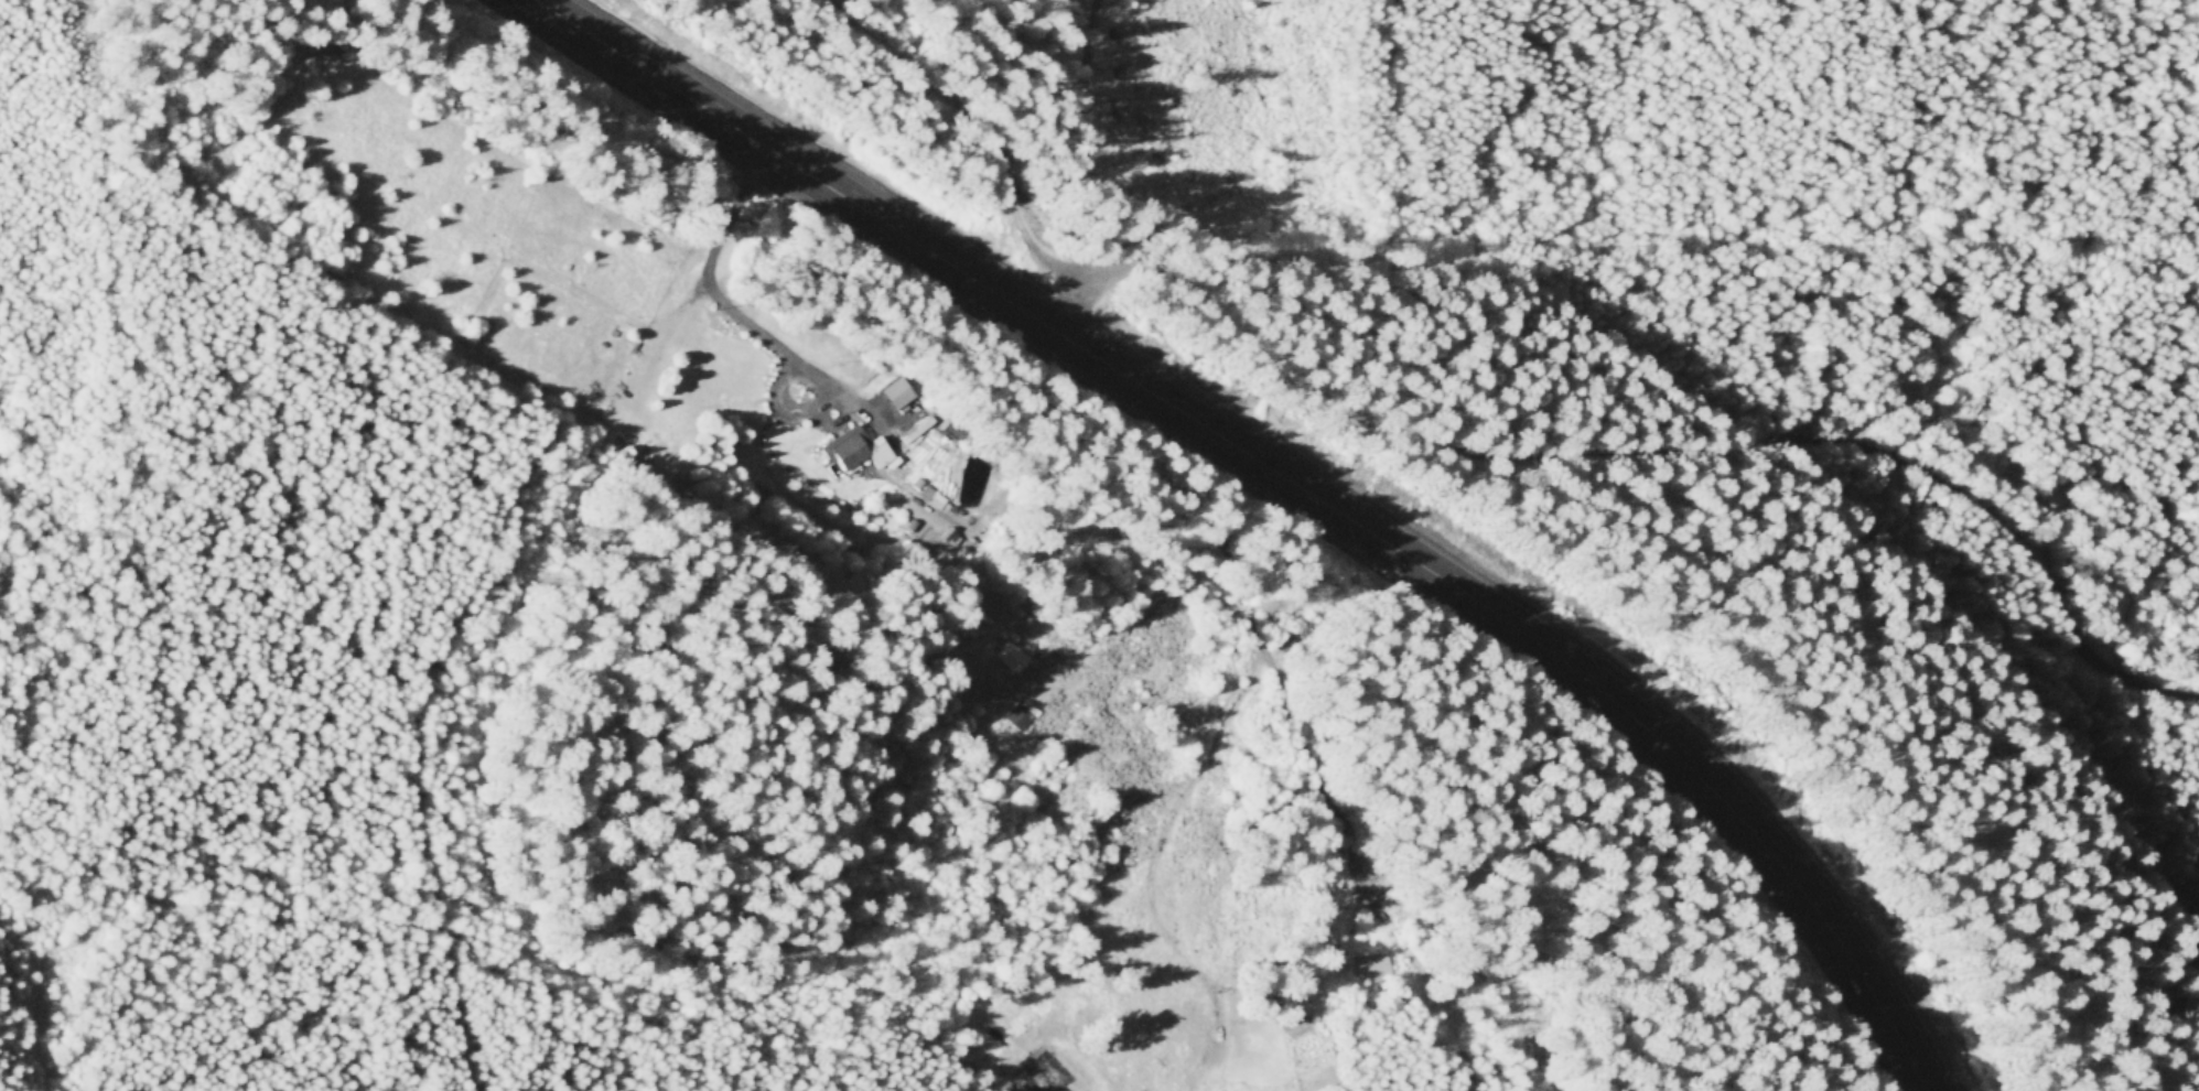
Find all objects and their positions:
road: (337, 97)
road: (983, 151)
road: (430, 207)
road: (722, 228)
road: (790, 350)
road: (784, 408)
road: (1661, 443)
building: (851, 449)
road: (1293, 482)
building: (939, 511)
road: (1150, 605)
road: (1261, 649)
road: (423, 714)
building: (1015, 716)
road: (2103, 796)
road: (1363, 877)
road: (466, 881)
road: (234, 912)
road: (1099, 953)
road: (1183, 957)
building: (1370, 964)
road: (1554, 1077)

